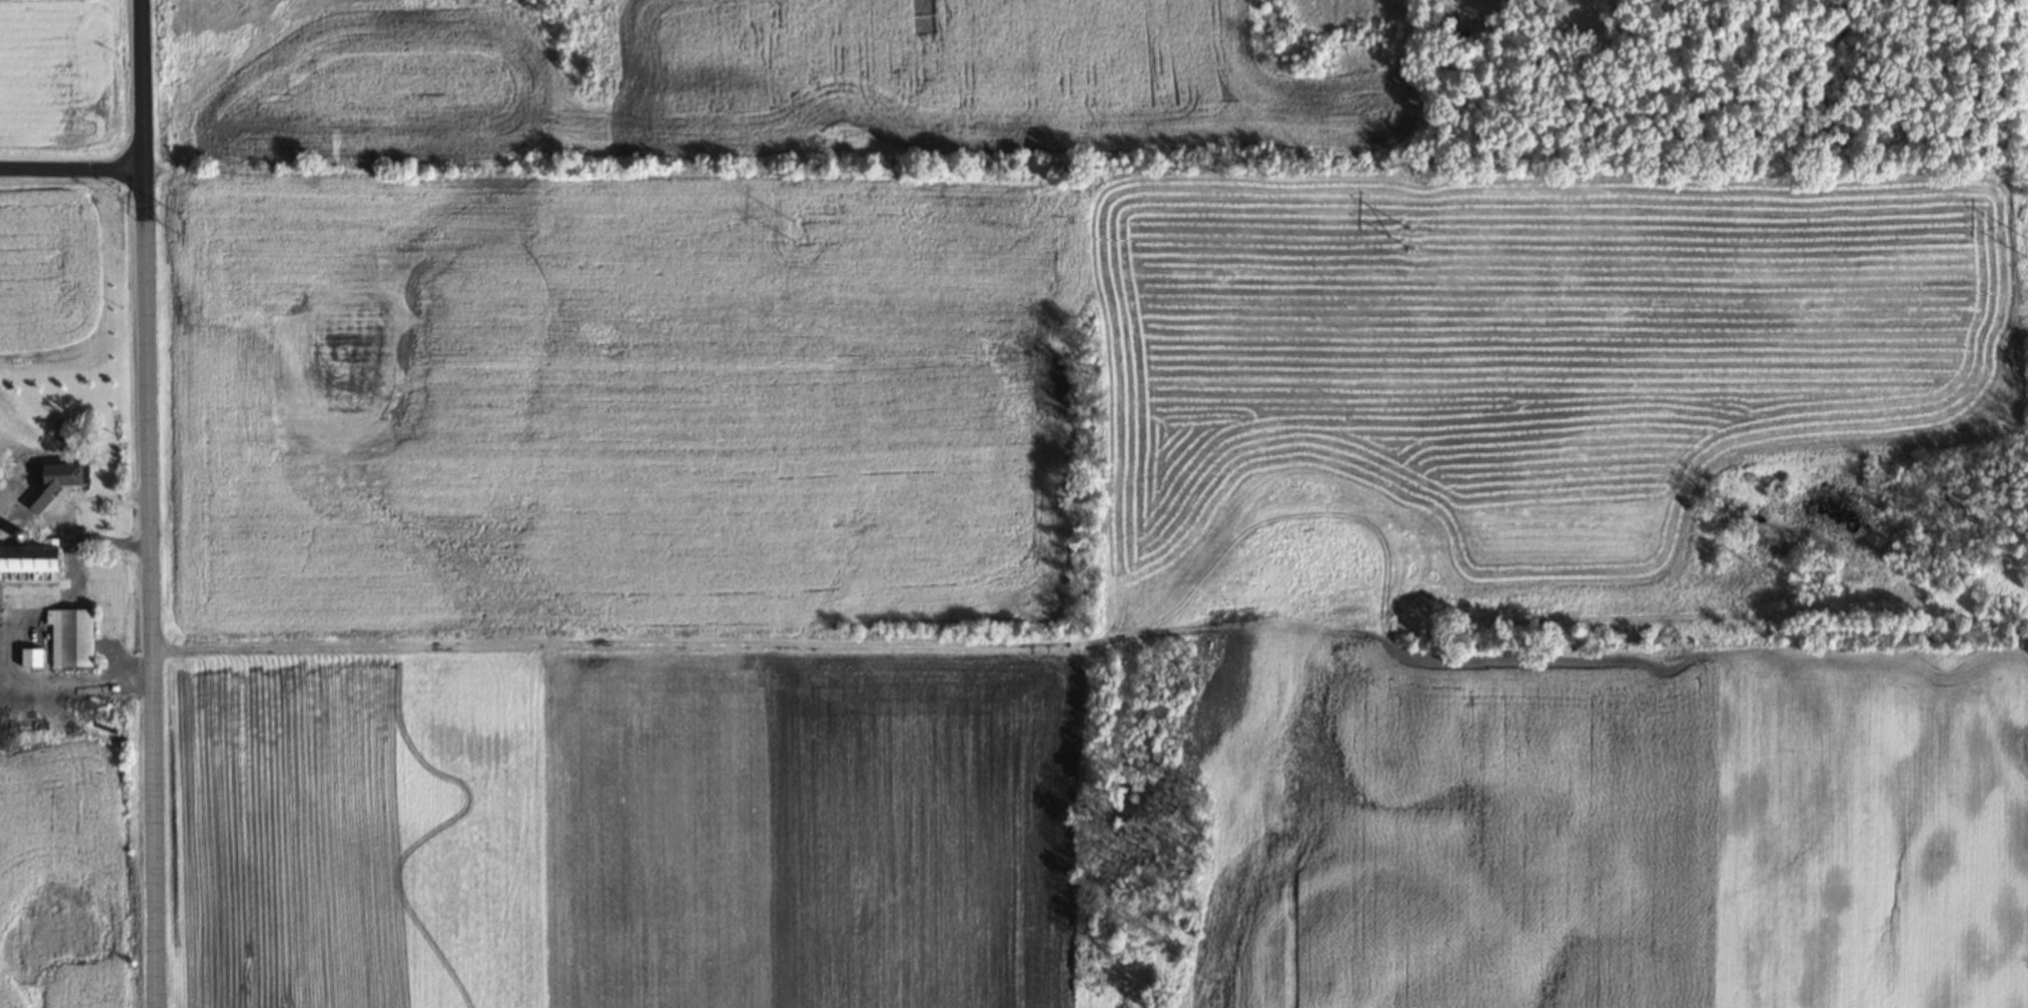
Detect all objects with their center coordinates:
road: (73, 168)
power tower: (178, 221)
power tower: (794, 229)
power tower: (1411, 237)
power tower: (2025, 245)
building: (41, 475)
building: (8, 497)
road: (151, 503)
road: (68, 518)
building: (32, 553)
building: (70, 637)

